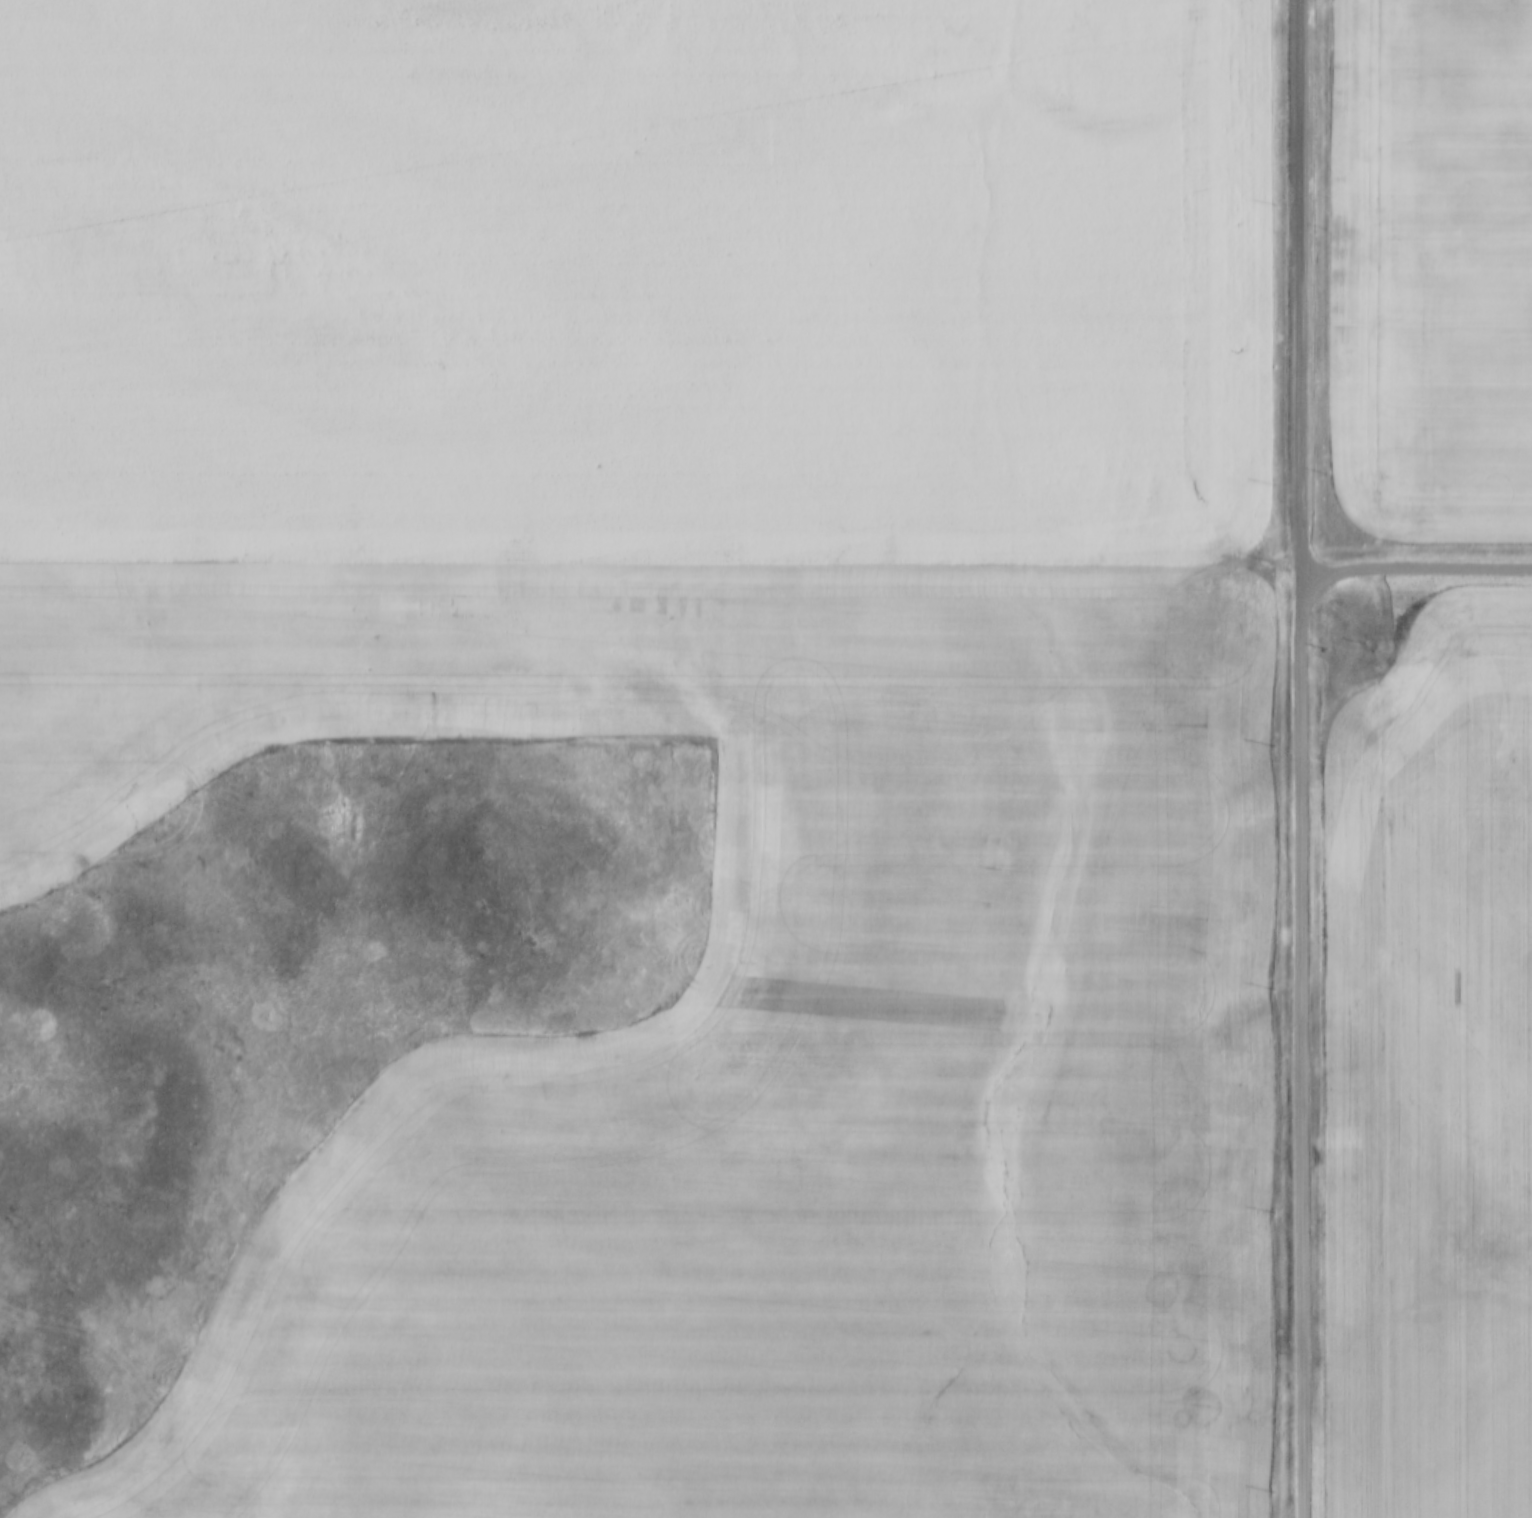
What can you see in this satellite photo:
road: (649, 546)
road: (1414, 568)
road: (1297, 759)

